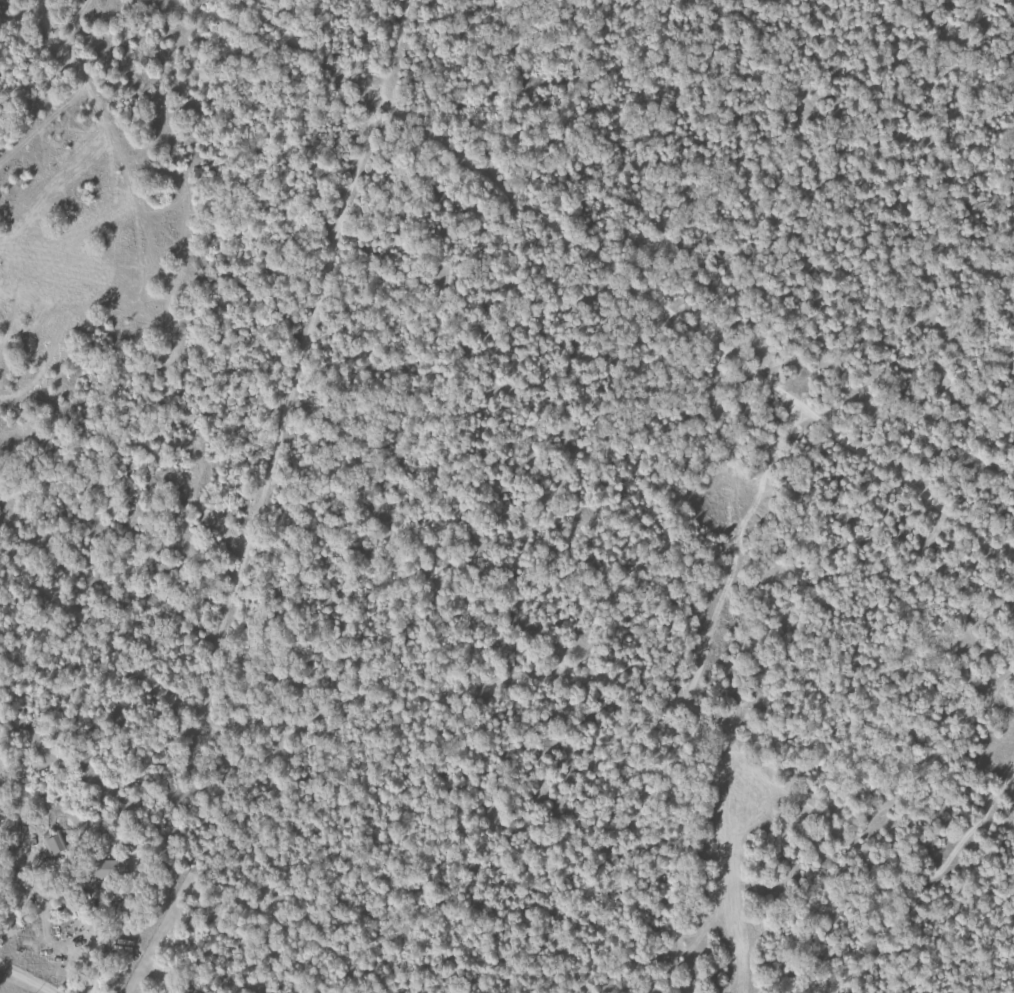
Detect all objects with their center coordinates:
building: (53, 843)
building: (107, 868)
road: (32, 976)

